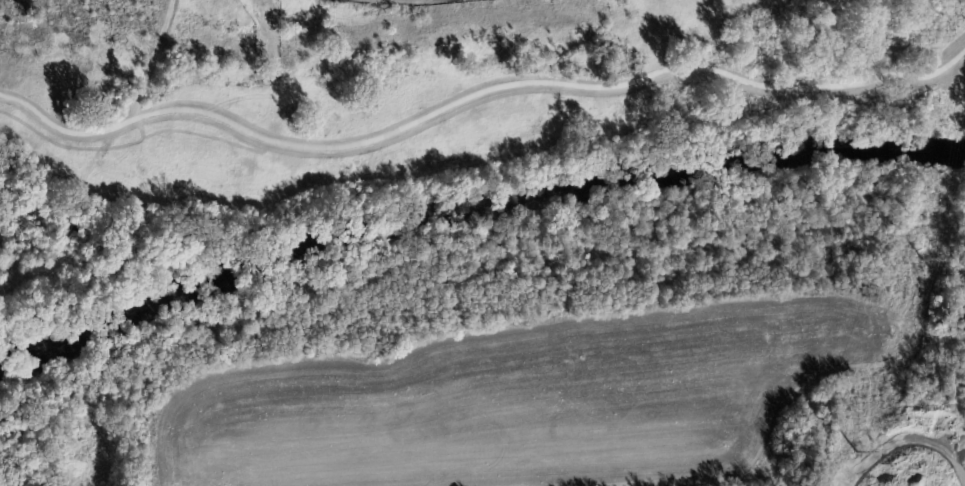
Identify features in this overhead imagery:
power tower: (927, 238)
power tower: (857, 444)

